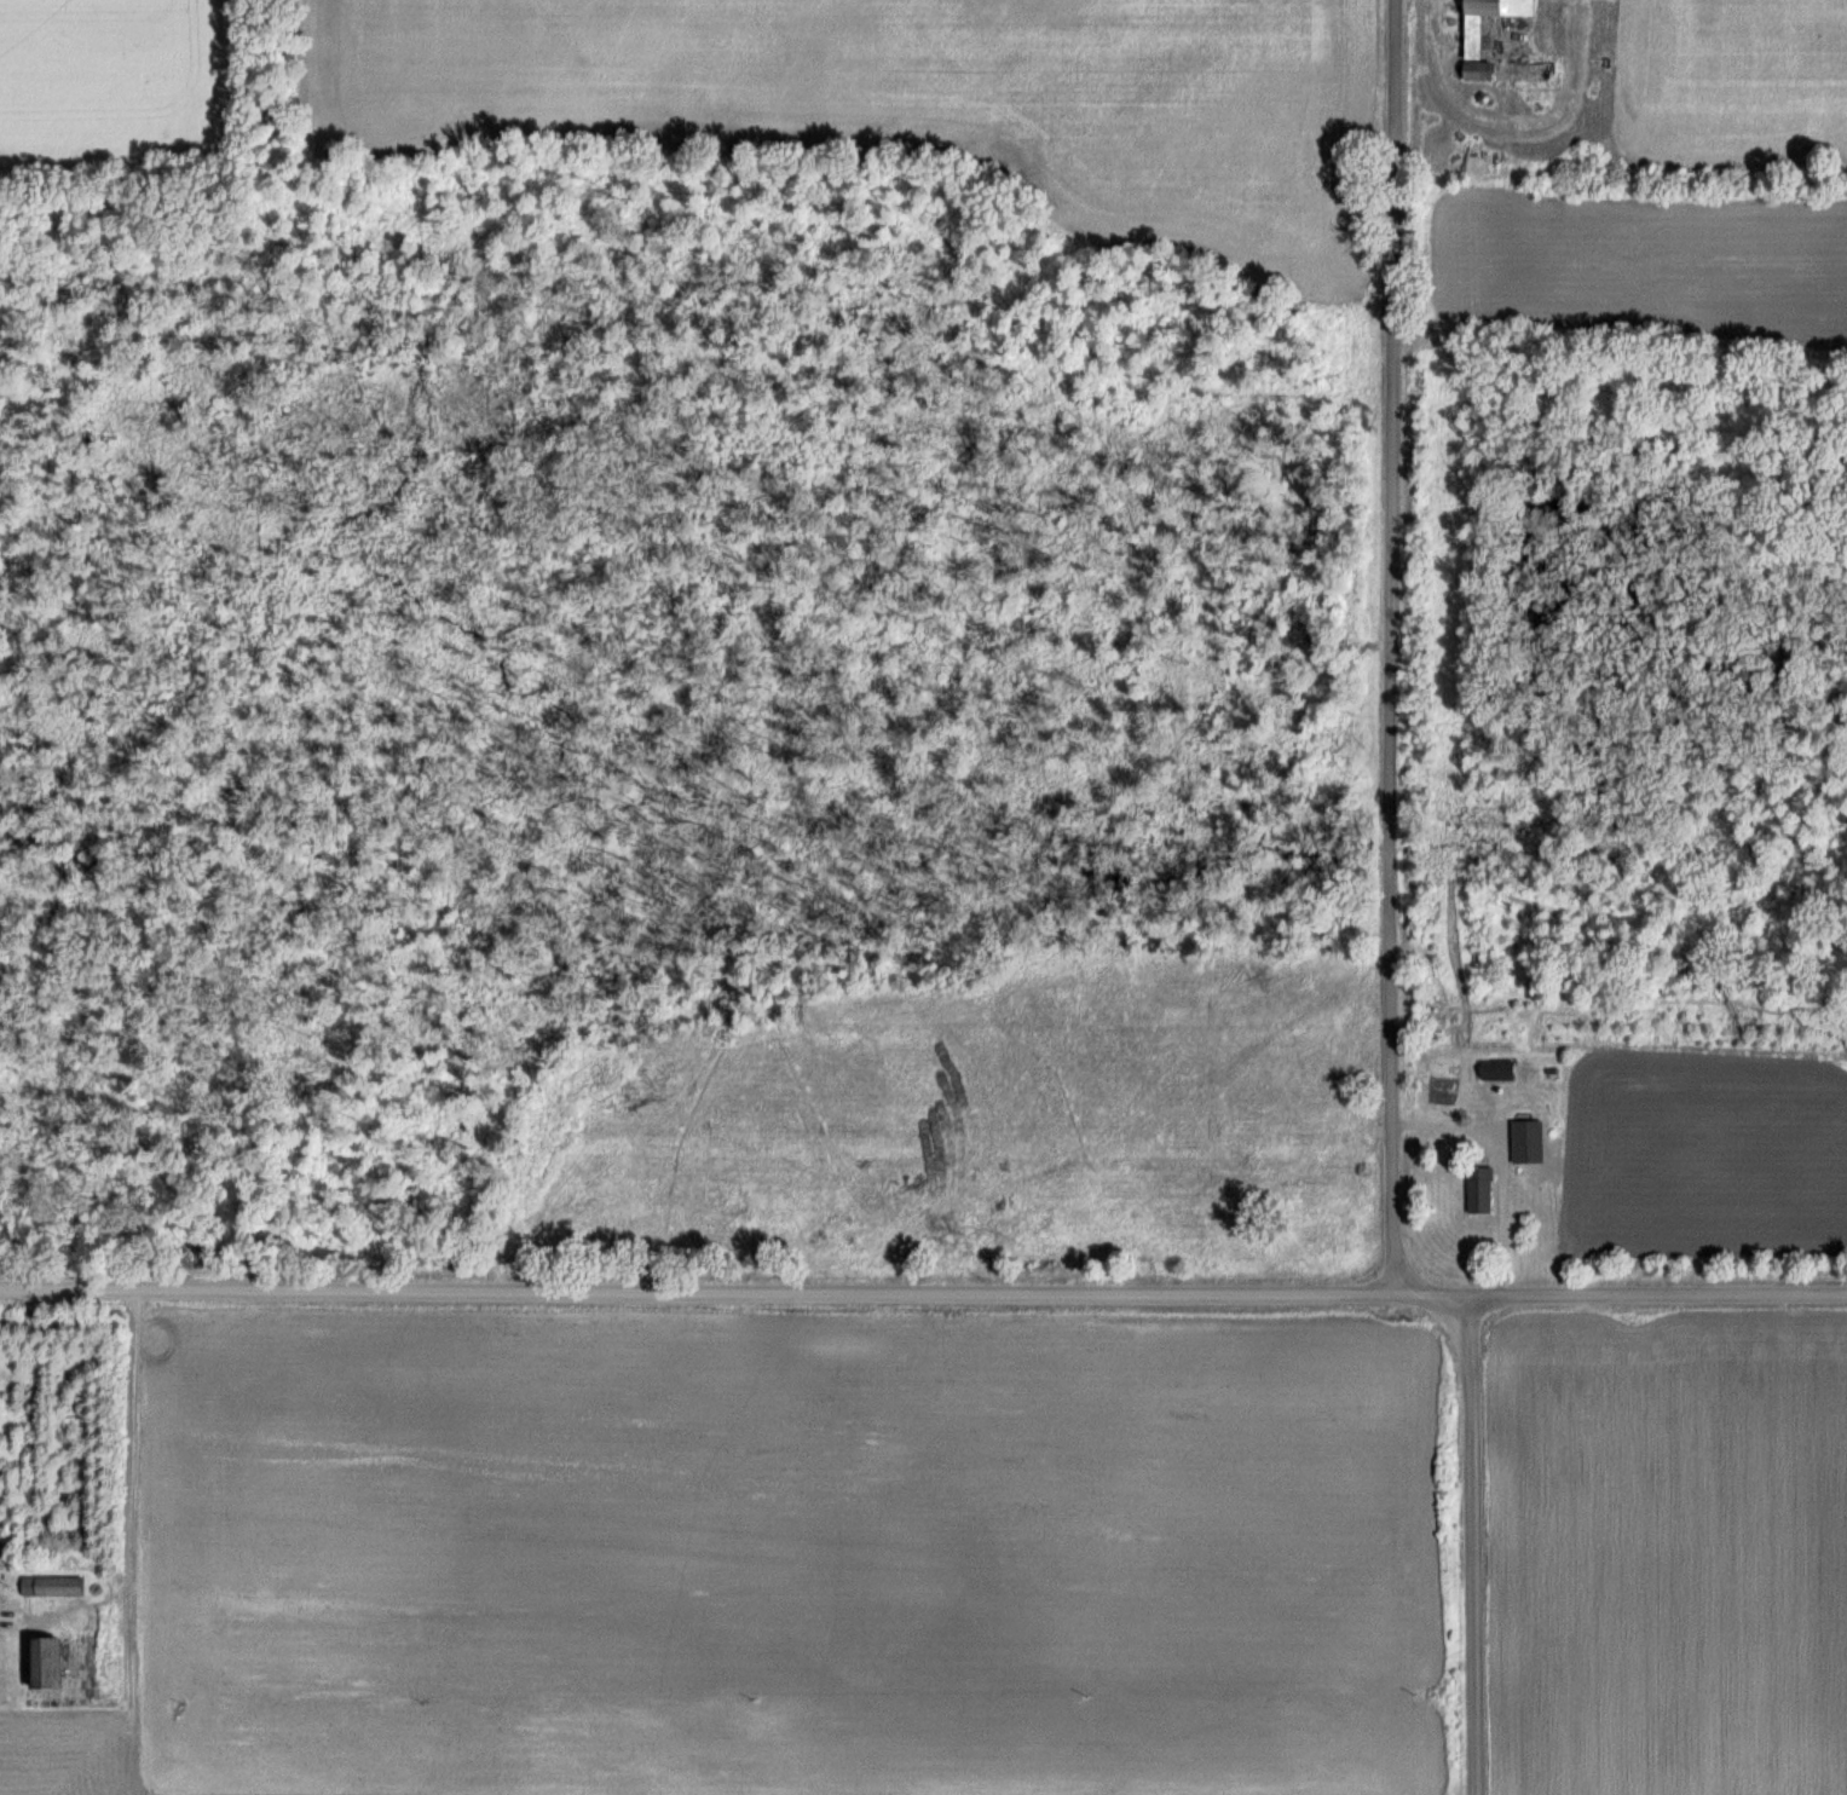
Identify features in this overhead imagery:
building: (1474, 39)
road: (1393, 647)
building: (1499, 1070)
road: (1499, 1170)
building: (1482, 1190)
road: (923, 1293)
road: (1478, 1546)
building: (53, 1586)
building: (47, 1663)

